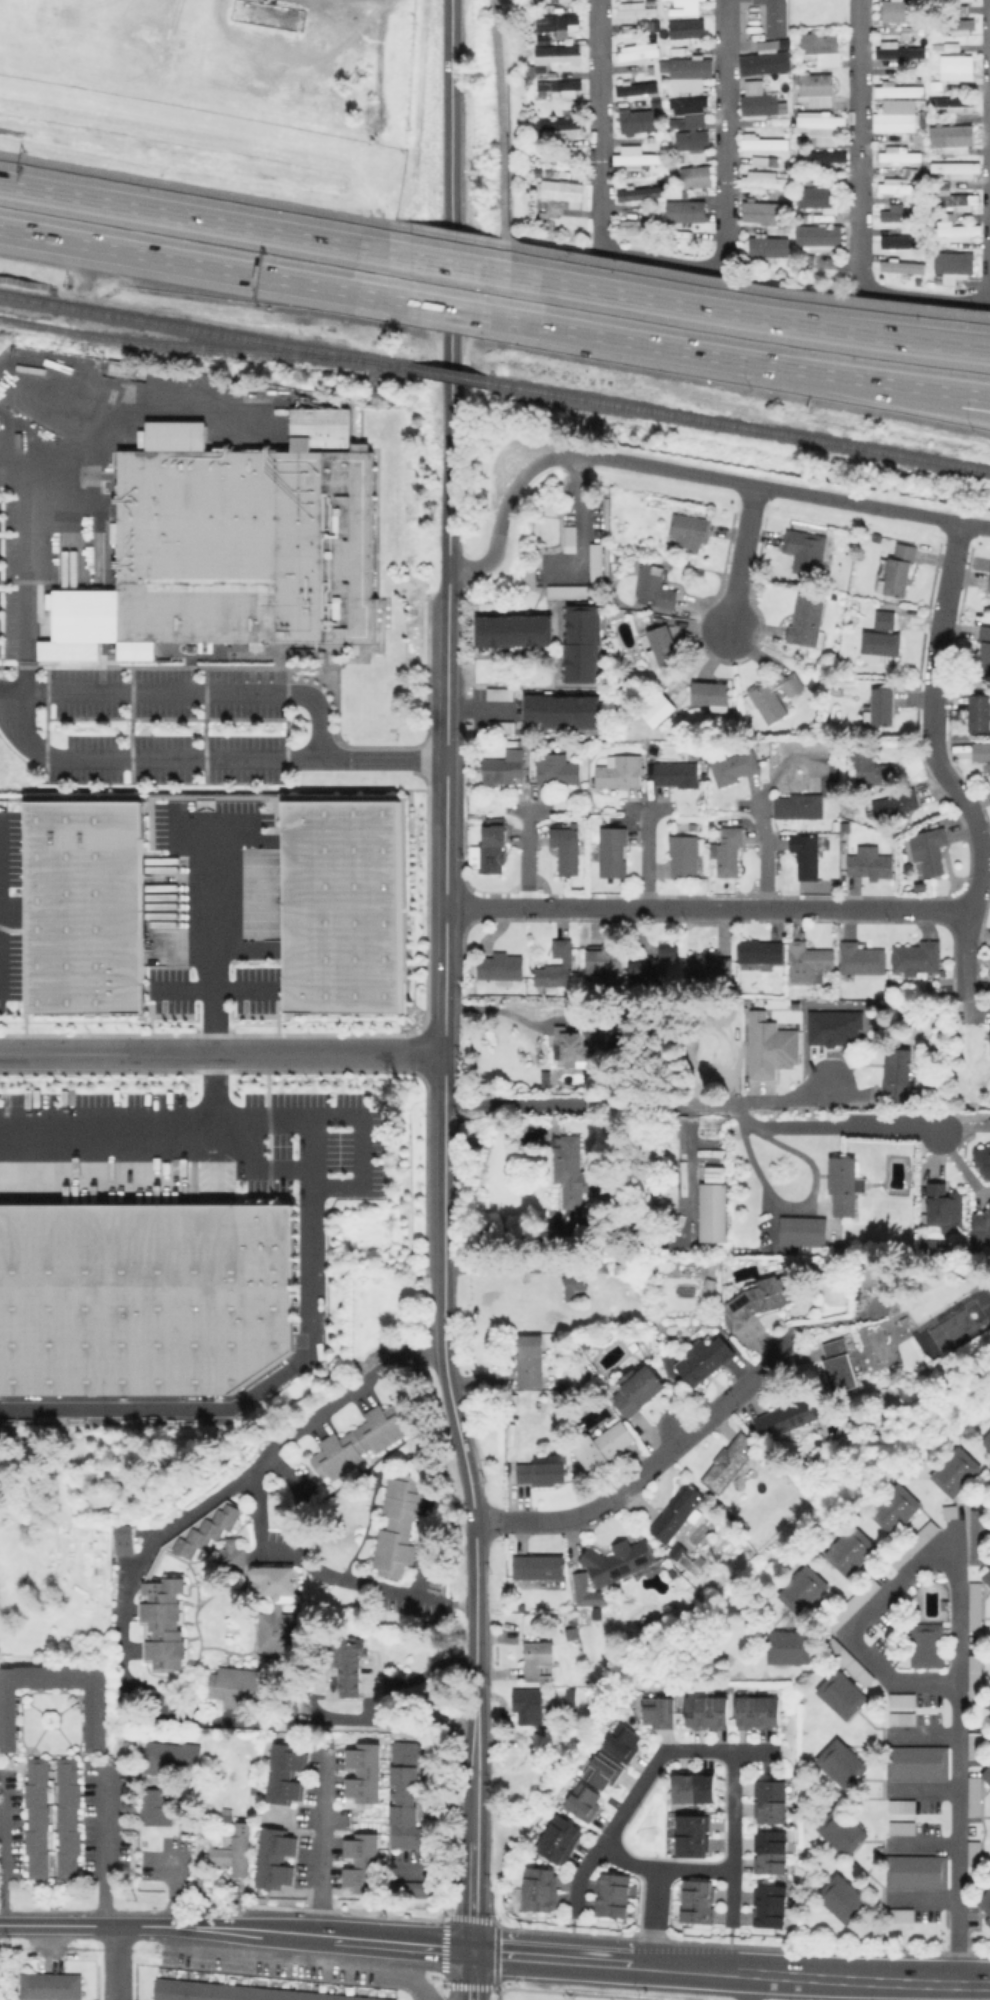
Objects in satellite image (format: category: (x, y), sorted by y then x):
building: (567, 0)
building: (958, 2)
building: (690, 5)
building: (640, 12)
building: (902, 13)
building: (778, 17)
building: (562, 25)
building: (959, 27)
building: (690, 31)
building: (546, 43)
building: (821, 46)
building: (901, 52)
building: (642, 53)
building: (563, 54)
building: (767, 62)
building: (959, 66)
building: (694, 73)
building: (559, 86)
building: (635, 88)
building: (815, 88)
building: (895, 90)
building: (759, 100)
building: (949, 104)
building: (688, 108)
building: (895, 115)
building: (637, 120)
road: (502, 122)
building: (560, 126)
building: (819, 127)
building: (762, 143)
building: (689, 145)
building: (557, 154)
building: (897, 154)
building: (634, 156)
building: (824, 157)
building: (955, 168)
building: (695, 176)
building: (762, 180)
building: (895, 187)
road: (195, 189)
building: (560, 191)
building: (638, 193)
building: (815, 196)
building: (953, 198)
building: (683, 210)
building: (762, 211)
building: (894, 213)
road: (858, 215)
road: (193, 217)
building: (632, 227)
building: (954, 232)
road: (448, 235)
building: (816, 236)
building: (898, 241)
building: (766, 246)
road: (670, 261)
road: (445, 263)
road: (195, 264)
building: (951, 265)
building: (900, 266)
road: (449, 284)
road: (747, 287)
road: (448, 310)
road: (746, 316)
railway: (207, 330)
railway: (187, 346)
road: (658, 346)
building: (124, 369)
railway: (453, 376)
road: (900, 385)
road: (900, 396)
building: (323, 427)
railway: (739, 427)
road: (688, 472)
road: (577, 513)
building: (690, 533)
building: (236, 548)
building: (806, 552)
road: (739, 557)
building: (594, 562)
road: (31, 563)
building: (895, 573)
building: (988, 583)
building: (655, 588)
building: (565, 591)
building: (989, 592)
building: (807, 624)
building: (512, 630)
building: (883, 641)
building: (579, 644)
building: (663, 646)
building: (983, 654)
building: (497, 693)
road: (191, 694)
building: (773, 695)
road: (447, 697)
building: (715, 698)
road: (479, 708)
building: (561, 711)
building: (882, 711)
building: (662, 714)
building: (980, 715)
building: (499, 726)
building: (524, 743)
building: (982, 756)
road: (205, 758)
road: (938, 764)
building: (504, 767)
building: (557, 769)
building: (734, 770)
building: (873, 770)
building: (619, 772)
building: (677, 773)
building: (834, 786)
building: (895, 803)
building: (798, 805)
road: (762, 813)
road: (217, 827)
building: (491, 847)
building: (567, 847)
building: (728, 850)
building: (613, 851)
road: (524, 854)
building: (930, 854)
road: (643, 855)
building: (684, 856)
building: (808, 859)
building: (871, 866)
building: (919, 885)
road: (1, 899)
building: (332, 903)
building: (96, 906)
road: (707, 908)
road: (445, 938)
road: (220, 940)
building: (761, 951)
building: (917, 960)
building: (672, 961)
building: (863, 962)
building: (558, 965)
building: (606, 965)
building: (502, 966)
building: (808, 966)
building: (711, 967)
building: (643, 971)
road: (221, 991)
building: (831, 1026)
building: (988, 1039)
building: (572, 1043)
building: (772, 1049)
road: (222, 1053)
building: (896, 1078)
road: (783, 1098)
road: (701, 1102)
road: (154, 1140)
road: (368, 1142)
building: (982, 1157)
road: (444, 1163)
road: (262, 1168)
building: (572, 1169)
building: (713, 1173)
building: (844, 1183)
road: (805, 1205)
building: (943, 1205)
building: (713, 1212)
building: (981, 1226)
building: (803, 1232)
building: (599, 1266)
road: (498, 1271)
building: (865, 1274)
building: (571, 1287)
building: (763, 1298)
building: (144, 1300)
building: (531, 1360)
building: (704, 1360)
building: (840, 1368)
building: (639, 1389)
road: (246, 1403)
building: (788, 1416)
building: (987, 1439)
building: (361, 1440)
building: (604, 1446)
building: (731, 1462)
road: (648, 1470)
building: (542, 1472)
building: (955, 1472)
building: (895, 1507)
building: (677, 1513)
building: (400, 1524)
building: (207, 1529)
building: (125, 1538)
building: (981, 1538)
building: (914, 1544)
building: (850, 1548)
building: (682, 1555)
building: (232, 1557)
building: (618, 1560)
building: (541, 1567)
road: (329, 1570)
road: (915, 1570)
building: (987, 1572)
building: (803, 1587)
building: (584, 1590)
building: (853, 1603)
building: (977, 1606)
building: (279, 1610)
road: (476, 1611)
road: (123, 1623)
building: (164, 1623)
building: (927, 1645)
building: (791, 1649)
railway: (686, 1652)
building: (354, 1656)
building: (538, 1658)
building: (850, 1662)
building: (375, 1664)
road: (411, 1678)
building: (974, 1680)
building: (239, 1686)
building: (843, 1694)
building: (903, 1699)
building: (988, 1704)
building: (706, 1710)
building: (759, 1711)
building: (660, 1712)
building: (531, 1714)
building: (97, 1719)
building: (903, 1719)
building: (623, 1740)
building: (977, 1746)
road: (659, 1755)
building: (173, 1757)
building: (841, 1762)
building: (919, 1763)
building: (602, 1770)
building: (284, 1772)
building: (366, 1773)
building: (987, 1773)
building: (694, 1786)
building: (255, 1788)
building: (409, 1796)
building: (976, 1797)
building: (772, 1800)
building: (582, 1801)
building: (157, 1806)
building: (904, 1807)
building: (38, 1817)
building: (69, 1817)
building: (901, 1827)
building: (842, 1829)
road: (957, 1832)
building: (690, 1834)
building: (556, 1837)
building: (771, 1851)
road: (7, 1852)
road: (110, 1853)
building: (236, 1853)
building: (275, 1858)
road: (325, 1859)
building: (974, 1860)
building: (364, 1863)
building: (917, 1871)
road: (579, 1875)
road: (171, 1886)
building: (538, 1888)
building: (414, 1889)
building: (613, 1895)
road: (921, 1897)
building: (843, 1898)
building: (986, 1901)
building: (697, 1902)
building: (771, 1906)
building: (900, 1914)
road: (655, 1917)
building: (988, 1925)
road: (119, 1926)
road: (355, 1943)
traffic signals: (472, 1953)
road: (115, 1963)
road: (730, 1972)
road: (402, 1974)
road: (472, 1976)
road: (443, 1983)
building: (51, 1986)
road: (749, 1987)
building: (240, 1992)
road: (451, 1993)

